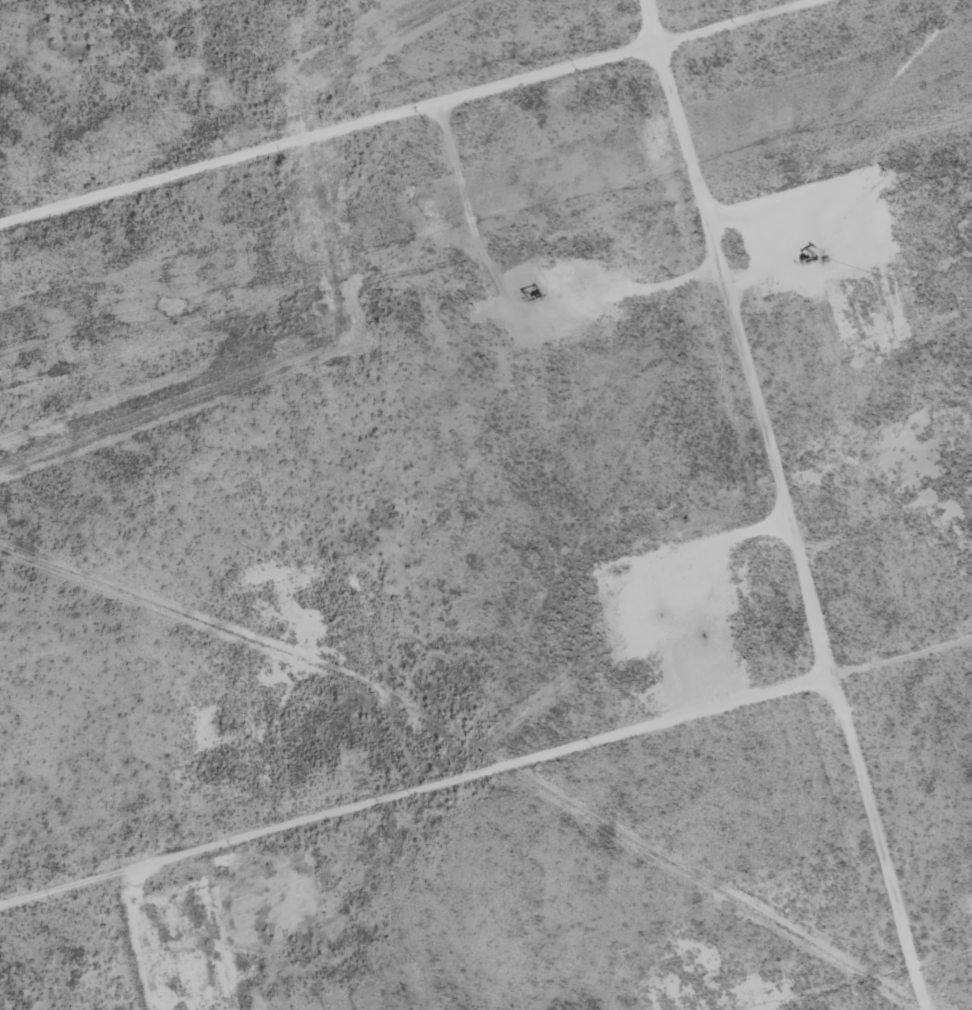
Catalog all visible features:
road: (718, 505)

